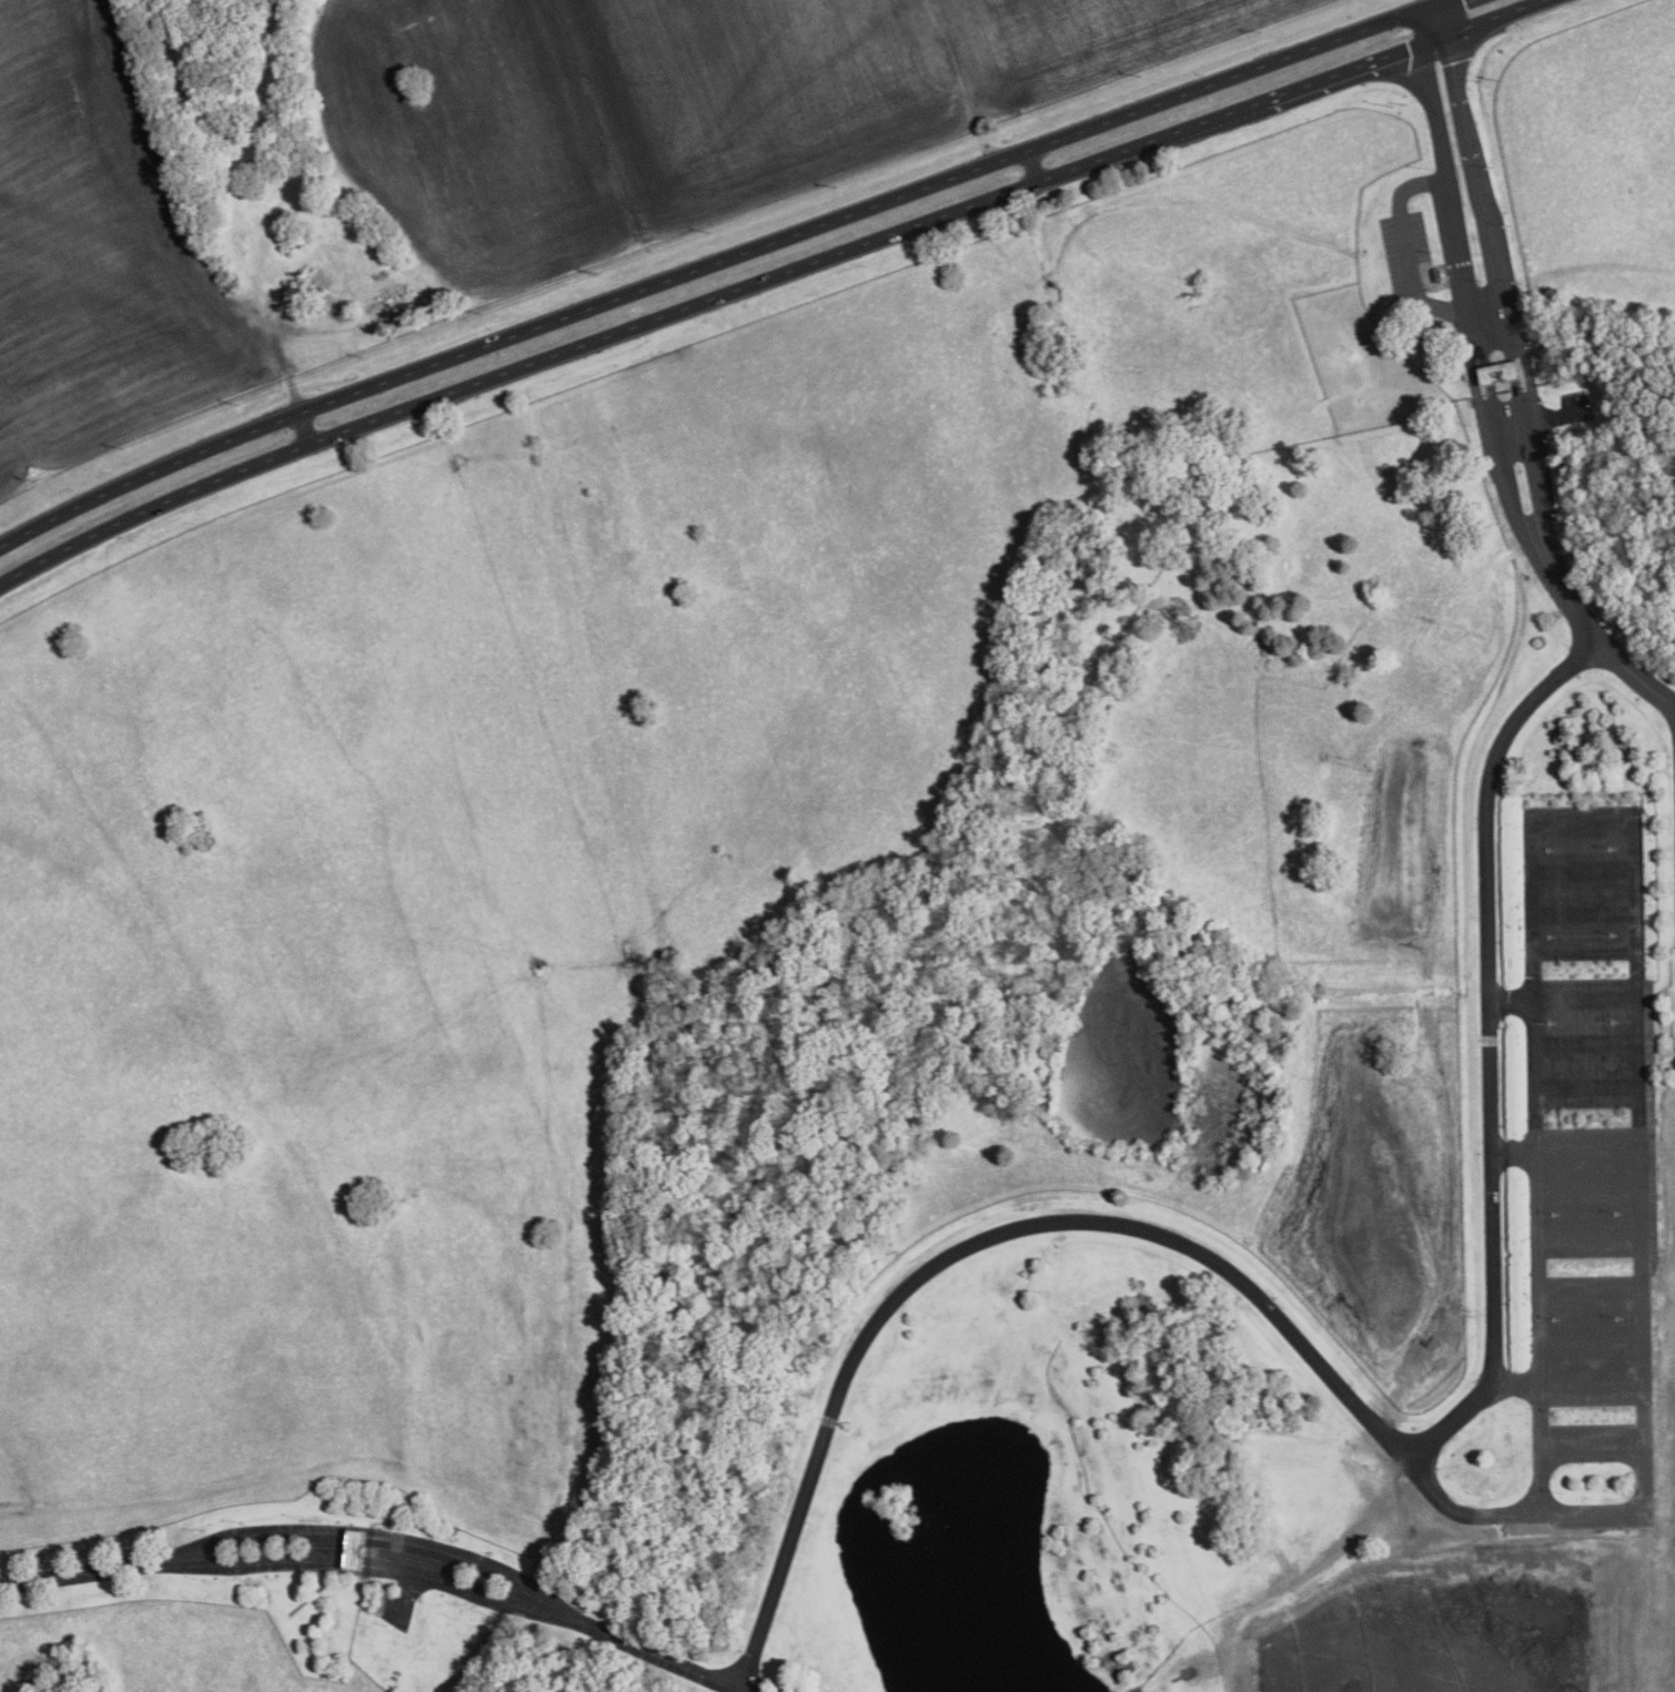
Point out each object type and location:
road: (1461, 192)
road: (720, 263)
road: (767, 280)
building: (1500, 373)
road: (303, 429)
road: (1548, 563)
road: (1631, 824)
road: (1583, 870)
road: (1584, 912)
road: (1584, 952)
road: (1563, 997)
road: (1586, 1042)
road: (1490, 1047)
road: (1586, 1086)
road: (1564, 1151)
road: (1587, 1192)
road: (1052, 1219)
road: (1588, 1235)
road: (1590, 1296)
road: (1590, 1338)
road: (1563, 1380)
road: (1592, 1451)
road: (256, 1533)
building: (355, 1549)
road: (471, 1560)
road: (256, 1561)
road: (77, 1574)
road: (463, 1587)
road: (652, 1653)

